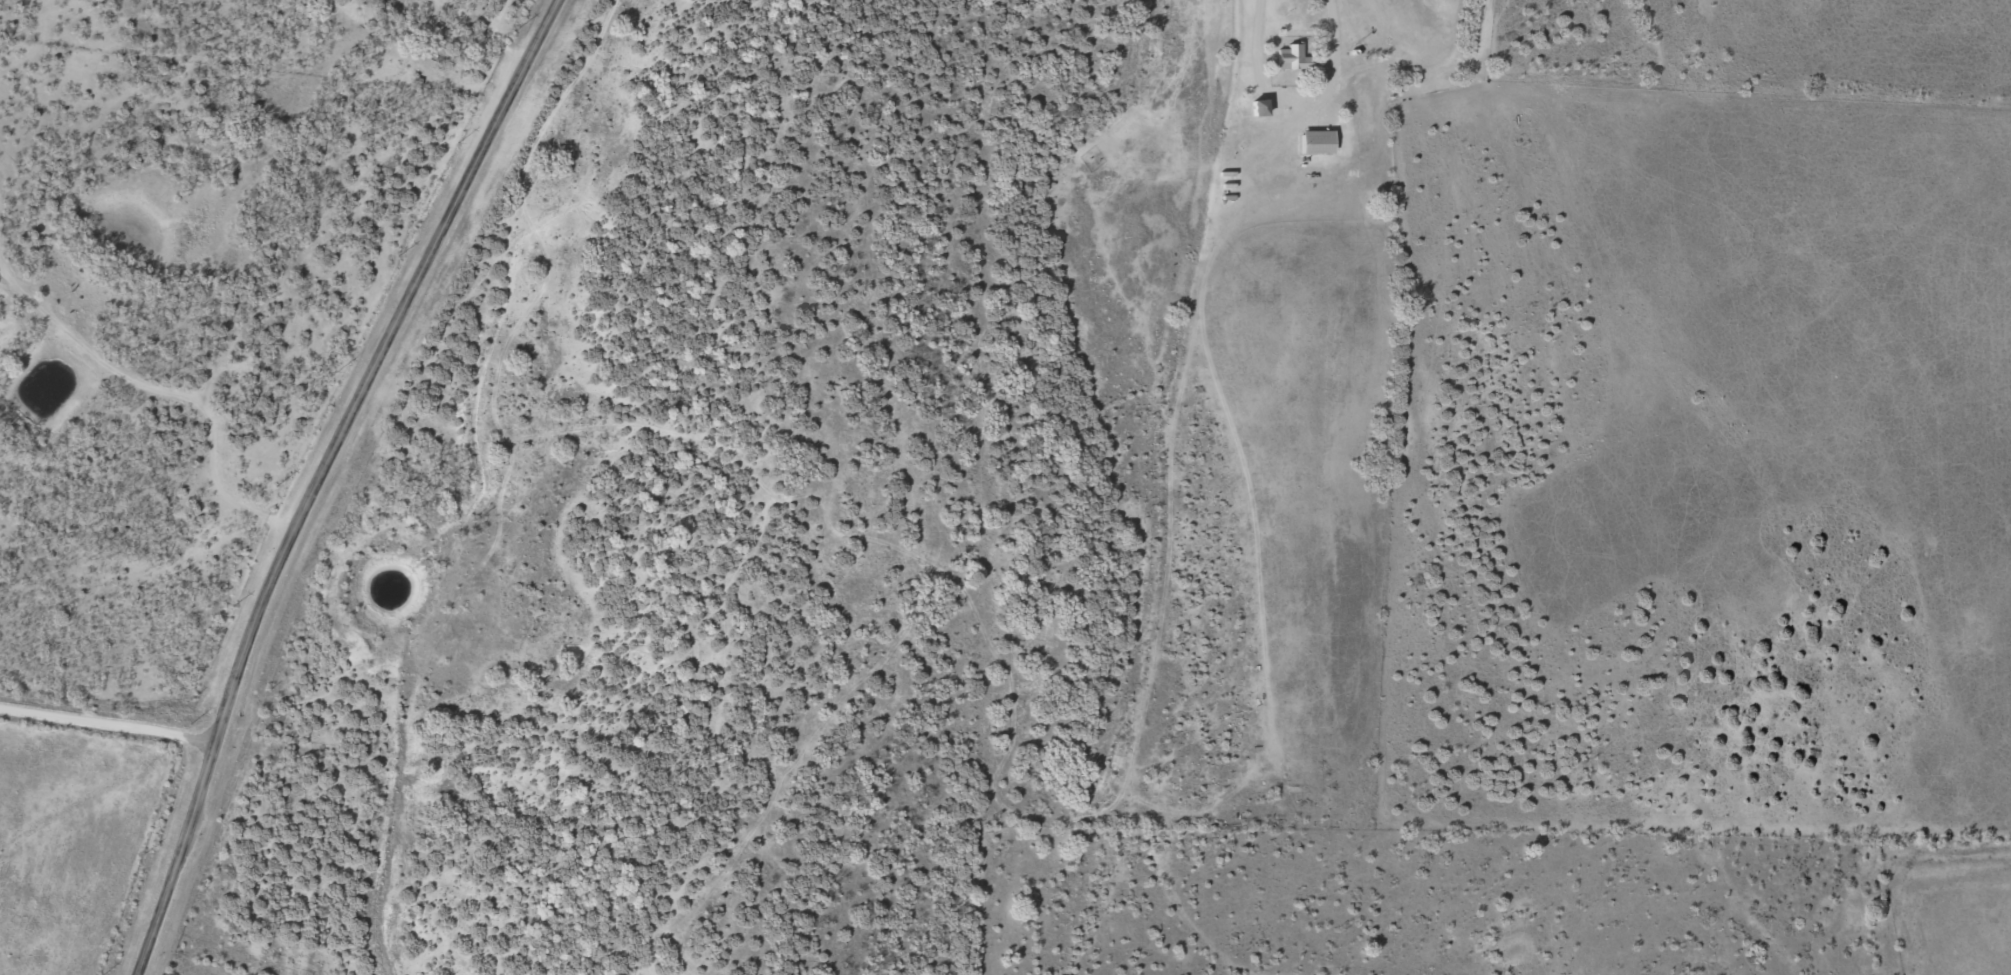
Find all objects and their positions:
building: (1292, 58)
building: (1259, 108)
building: (1315, 142)
road: (318, 474)
road: (108, 728)

